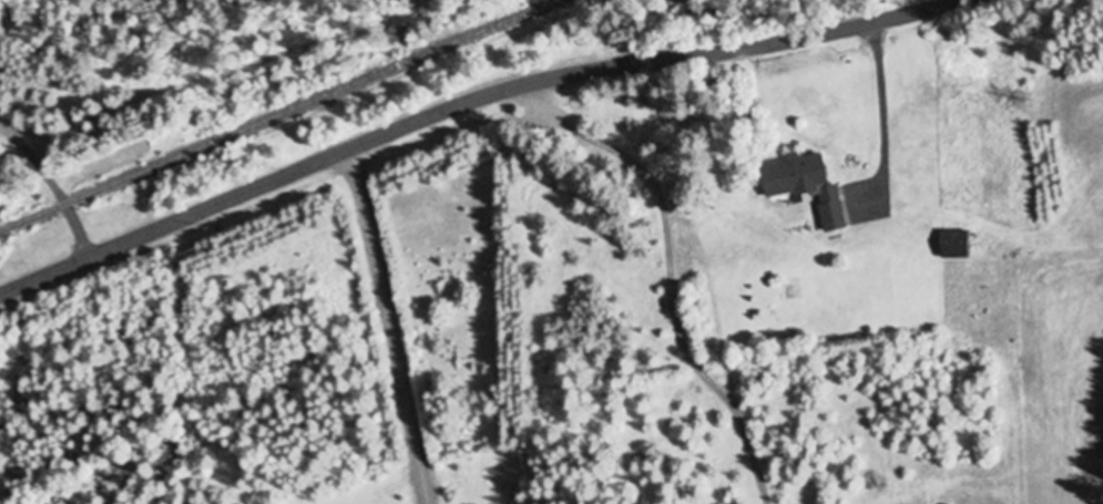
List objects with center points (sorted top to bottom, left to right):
road: (438, 114)
railway: (279, 115)
road: (52, 186)
building: (805, 186)
building: (954, 245)

